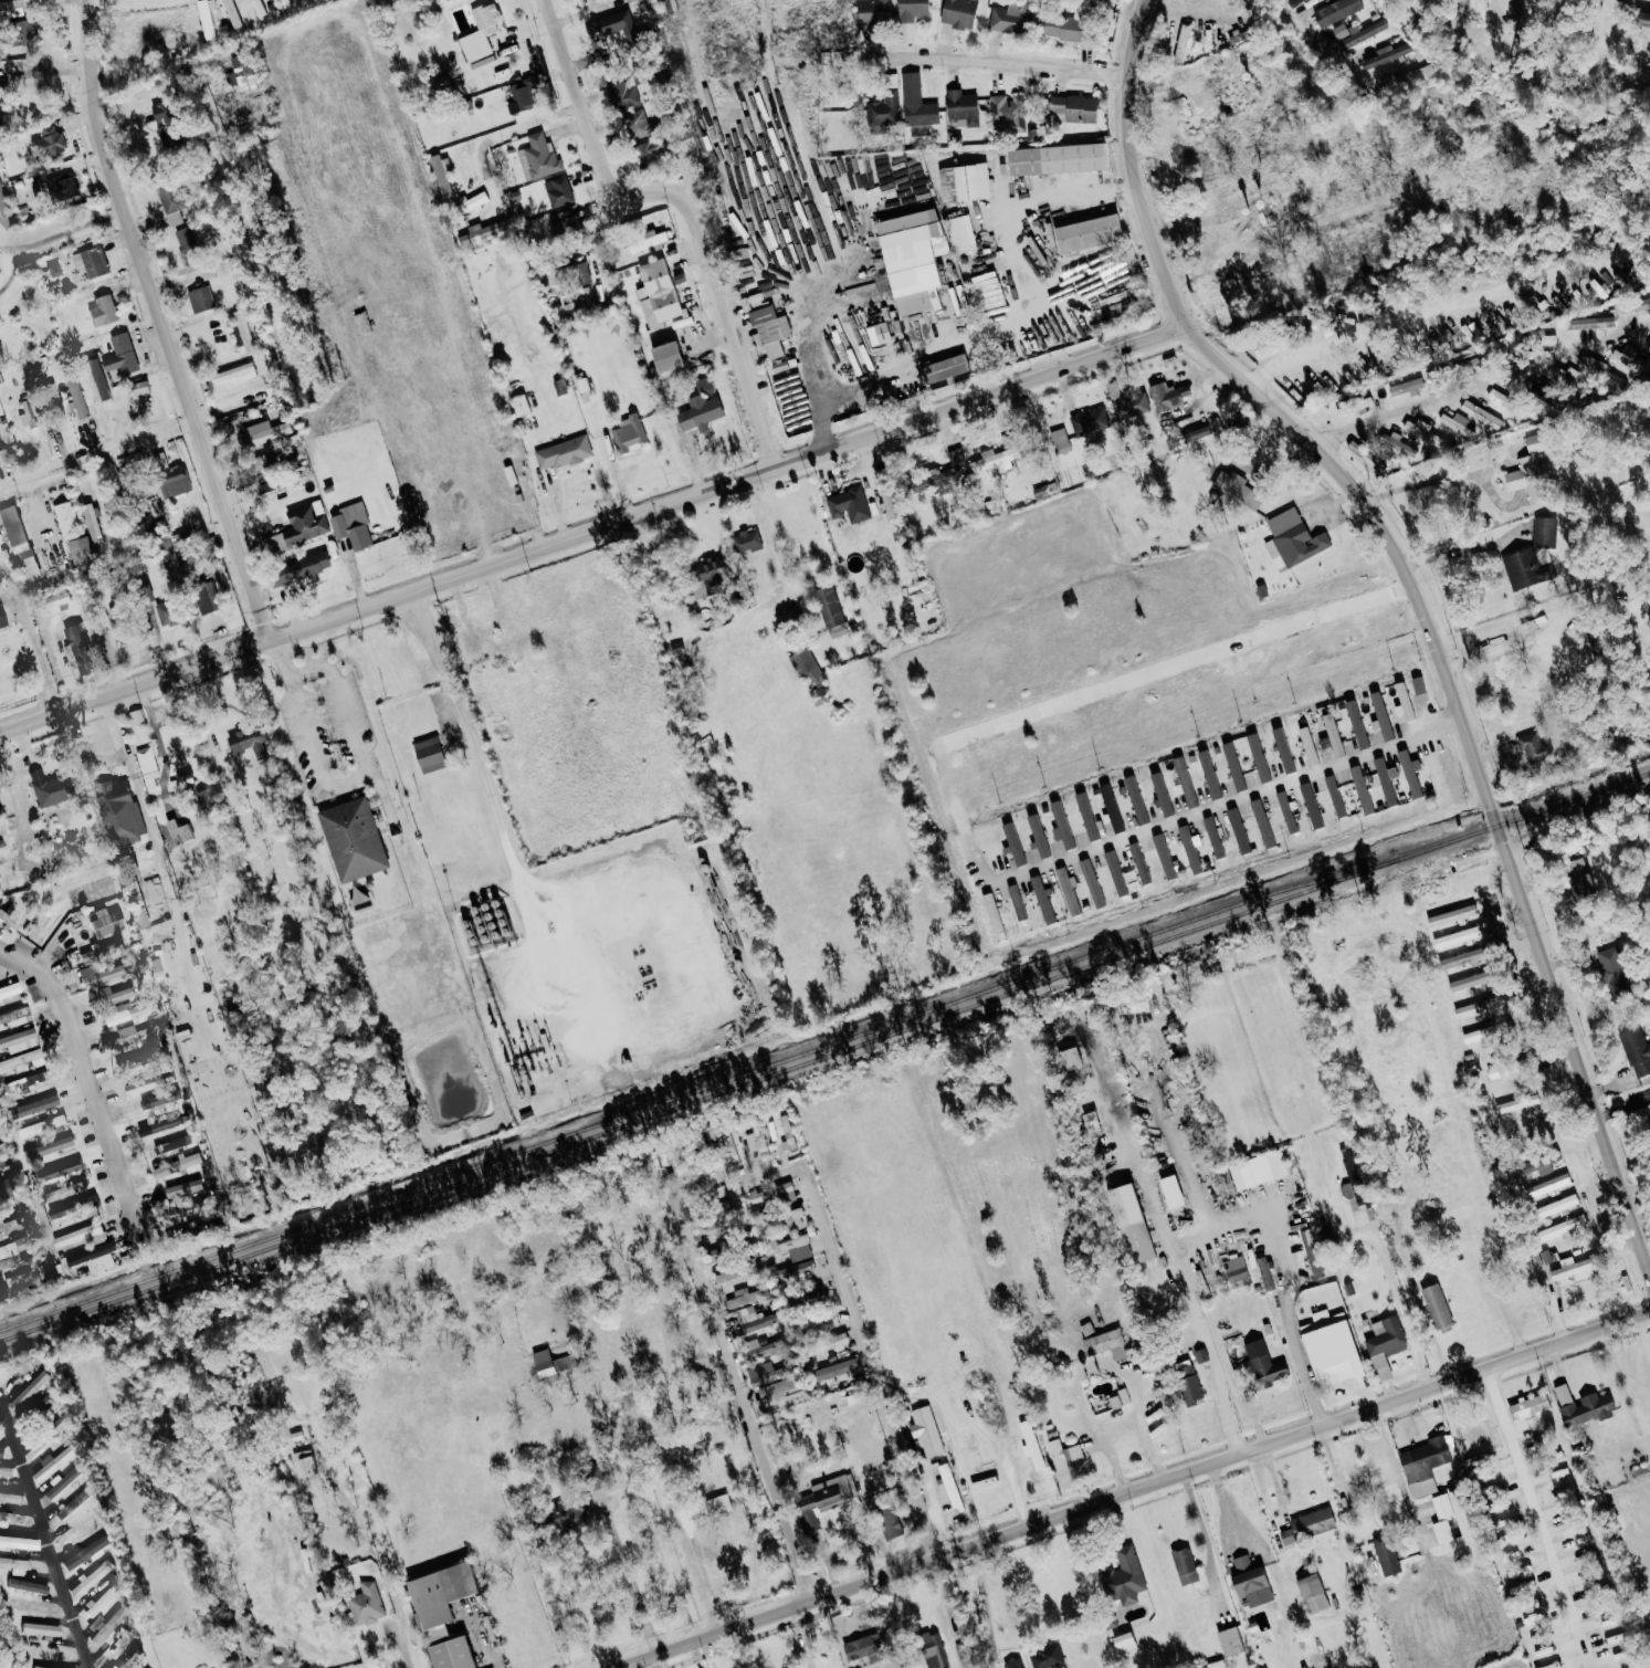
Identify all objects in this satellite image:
road: (129, 0)
building: (630, 0)
building: (284, 1)
building: (256, 7)
building: (10, 10)
building: (233, 11)
building: (873, 11)
building: (1335, 11)
road: (1252, 12)
building: (958, 13)
building: (910, 18)
building: (1006, 18)
building: (204, 19)
building: (619, 25)
building: (1063, 28)
building: (23, 31)
building: (480, 32)
building: (1356, 32)
building: (1237, 36)
building: (1208, 39)
building: (1162, 41)
building: (1181, 42)
road: (913, 54)
building: (1385, 54)
building: (1227, 56)
building: (241, 73)
building: (1412, 74)
building: (623, 93)
building: (523, 95)
building: (916, 106)
building: (961, 106)
building: (884, 107)
building: (1073, 107)
building: (1006, 114)
building: (0, 123)
building: (166, 123)
building: (635, 123)
road: (514, 127)
building: (46, 139)
building: (649, 153)
building: (537, 158)
building: (1057, 158)
building: (442, 177)
building: (964, 182)
building: (62, 186)
building: (558, 191)
building: (169, 200)
building: (470, 202)
road: (692, 206)
building: (3, 210)
building: (561, 221)
building: (481, 232)
building: (960, 233)
building: (1087, 233)
road: (48, 239)
building: (186, 240)
building: (645, 240)
building: (913, 259)
building: (90, 261)
building: (53, 270)
building: (1641, 270)
building: (580, 273)
building: (1598, 287)
building: (659, 293)
building: (1578, 296)
road: (1443, 297)
building: (200, 298)
building: (1636, 305)
road: (1015, 310)
building: (102, 311)
building: (1512, 316)
building: (1589, 323)
road: (160, 324)
building: (241, 329)
building: (770, 331)
building: (877, 333)
building: (1467, 333)
building: (1537, 338)
building: (1278, 346)
building: (1648, 349)
building: (120, 354)
building: (666, 356)
building: (1629, 357)
road: (810, 360)
building: (1590, 364)
building: (945, 368)
building: (234, 373)
building: (92, 378)
building: (1617, 379)
building: (581, 384)
building: (558, 386)
road: (1482, 386)
building: (137, 387)
building: (1406, 387)
building: (1315, 388)
building: (52, 395)
building: (1167, 396)
building: (1496, 397)
building: (76, 398)
building: (1129, 401)
building: (518, 405)
building: (1348, 407)
building: (700, 412)
building: (1481, 413)
building: (25, 415)
building: (1089, 423)
building: (1455, 423)
building: (495, 424)
building: (1421, 431)
building: (263, 432)
building: (629, 433)
building: (1007, 441)
building: (1059, 441)
building: (1399, 444)
road: (95, 452)
building: (564, 452)
building: (1, 457)
building: (1365, 457)
building: (994, 458)
building: (957, 463)
building: (1531, 471)
building: (170, 475)
road: (1425, 482)
building: (932, 483)
building: (1043, 490)
building: (1237, 491)
building: (885, 494)
building: (848, 505)
building: (64, 521)
road: (767, 521)
building: (91, 523)
building: (351, 525)
building: (299, 526)
road: (592, 532)
building: (1292, 539)
building: (746, 541)
building: (19, 543)
building: (80, 549)
road: (1461, 550)
building: (1531, 555)
building: (306, 566)
building: (705, 573)
road: (1418, 592)
building: (206, 598)
building: (51, 601)
building: (830, 611)
building: (168, 612)
building: (1, 620)
building: (118, 630)
road: (1537, 637)
road: (1373, 643)
building: (77, 646)
road: (42, 657)
building: (809, 672)
building: (1418, 684)
building: (1404, 701)
building: (1380, 715)
building: (136, 716)
building: (1356, 724)
building: (1333, 735)
building: (249, 742)
building: (1324, 742)
building: (1307, 745)
road: (161, 749)
building: (1283, 749)
road: (86, 751)
building: (429, 754)
building: (1258, 757)
road: (477, 758)
building: (1233, 766)
building: (147, 767)
building: (1410, 772)
building: (1209, 774)
road: (134, 777)
building: (1183, 781)
building: (1385, 781)
building: (185, 783)
road: (348, 785)
building: (44, 787)
building: (1360, 789)
building: (1160, 794)
building: (1335, 796)
road: (1229, 797)
building: (201, 799)
building: (1135, 799)
building: (1311, 806)
building: (1111, 808)
building: (118, 811)
building: (1286, 811)
building: (1085, 817)
building: (1262, 823)
building: (1060, 825)
building: (178, 831)
building: (1238, 831)
building: (1038, 835)
building: (1212, 837)
building: (353, 839)
building: (1012, 841)
building: (1189, 849)
building: (1164, 857)
building: (1138, 863)
building: (128, 864)
building: (1115, 873)
building: (1581, 878)
building: (1091, 883)
building: (1068, 890)
building: (1042, 900)
building: (1016, 902)
building: (1451, 915)
building: (140, 916)
building: (994, 916)
building: (8, 920)
building: (105, 922)
building: (1458, 936)
building: (101, 951)
building: (1463, 957)
building: (1614, 972)
building: (105, 974)
building: (1472, 979)
building: (9, 989)
building: (107, 996)
building: (1132, 1003)
building: (1476, 1007)
building: (126, 1010)
building: (14, 1016)
building: (1486, 1030)
building: (127, 1036)
building: (19, 1040)
building: (1636, 1050)
railway: (824, 1053)
building: (21, 1059)
building: (1069, 1059)
road: (82, 1067)
building: (1499, 1070)
building: (24, 1081)
road: (1558, 1082)
building: (140, 1085)
railway: (673, 1098)
building: (159, 1100)
building: (1515, 1104)
building: (33, 1106)
building: (158, 1125)
building: (40, 1126)
building: (1532, 1129)
building: (786, 1134)
building: (756, 1141)
building: (174, 1145)
building: (48, 1147)
building: (728, 1147)
building: (176, 1165)
building: (1534, 1167)
building: (1258, 1169)
building: (57, 1171)
building: (1549, 1186)
road: (745, 1188)
building: (179, 1189)
building: (64, 1190)
building: (2, 1192)
building: (1171, 1192)
building: (774, 1193)
building: (1353, 1193)
building: (1557, 1206)
building: (72, 1207)
building: (188, 1209)
road: (1221, 1223)
building: (1131, 1224)
building: (12, 1225)
building: (1562, 1228)
building: (81, 1236)
building: (20, 1241)
building: (795, 1247)
building: (1314, 1253)
building: (6, 1258)
building: (93, 1258)
building: (1580, 1267)
building: (1234, 1269)
building: (792, 1270)
building: (728, 1274)
building: (1264, 1278)
building: (17, 1284)
building: (745, 1297)
road: (1396, 1297)
building: (809, 1298)
building: (1437, 1305)
building: (755, 1321)
building: (811, 1324)
road: (1427, 1328)
building: (832, 1342)
building: (1107, 1344)
building: (1384, 1344)
building: (1330, 1346)
building: (758, 1351)
building: (1200, 1355)
building: (550, 1363)
building: (1263, 1365)
building: (834, 1371)
building: (764, 1374)
building: (1187, 1382)
building: (28, 1391)
building: (777, 1392)
building: (849, 1399)
building: (1117, 1399)
building: (41, 1405)
building: (1528, 1406)
building: (1580, 1406)
building: (925, 1431)
building: (1030, 1445)
building: (32, 1448)
building: (1, 1450)
building: (1062, 1458)
building: (1474, 1460)
building: (53, 1462)
building: (303, 1462)
building: (1422, 1466)
building: (6, 1471)
building: (1482, 1476)
building: (62, 1481)
road: (1124, 1485)
building: (949, 1488)
building: (1490, 1490)
building: (833, 1491)
building: (10, 1498)
building: (717, 1504)
building: (70, 1506)
building: (1441, 1506)
building: (1493, 1507)
road: (1541, 1512)
building: (806, 1513)
building: (11, 1518)
building: (889, 1522)
road: (1199, 1522)
building: (1463, 1525)
building: (1309, 1527)
building: (80, 1529)
building: (1442, 1531)
road: (44, 1533)
building: (1503, 1540)
building: (18, 1542)
building: (84, 1553)
building: (1386, 1556)
building: (14, 1565)
building: (1184, 1566)
building: (1518, 1571)
road: (624, 1574)
building: (91, 1577)
building: (1123, 1577)
building: (1248, 1577)
building: (27, 1586)
building: (439, 1594)
building: (1313, 1594)
building: (99, 1601)
road: (984, 1601)
building: (365, 1604)
building: (33, 1608)
building: (1609, 1622)
building: (108, 1625)
building: (39, 1629)
building: (435, 1634)
road: (800, 1634)
building: (1536, 1637)
building: (1614, 1638)
building: (1230, 1641)
building: (1124, 1643)
building: (858, 1649)
building: (932, 1650)
building: (1545, 1650)
building: (46, 1654)
building: (451, 1654)
building: (1617, 1656)
building: (128, 1657)
building: (1045, 1657)
road: (653, 1659)
building: (1012, 1664)
building: (1216, 1665)
building: (1547, 1666)
building: (41, 1667)
building: (1632, 1667)

